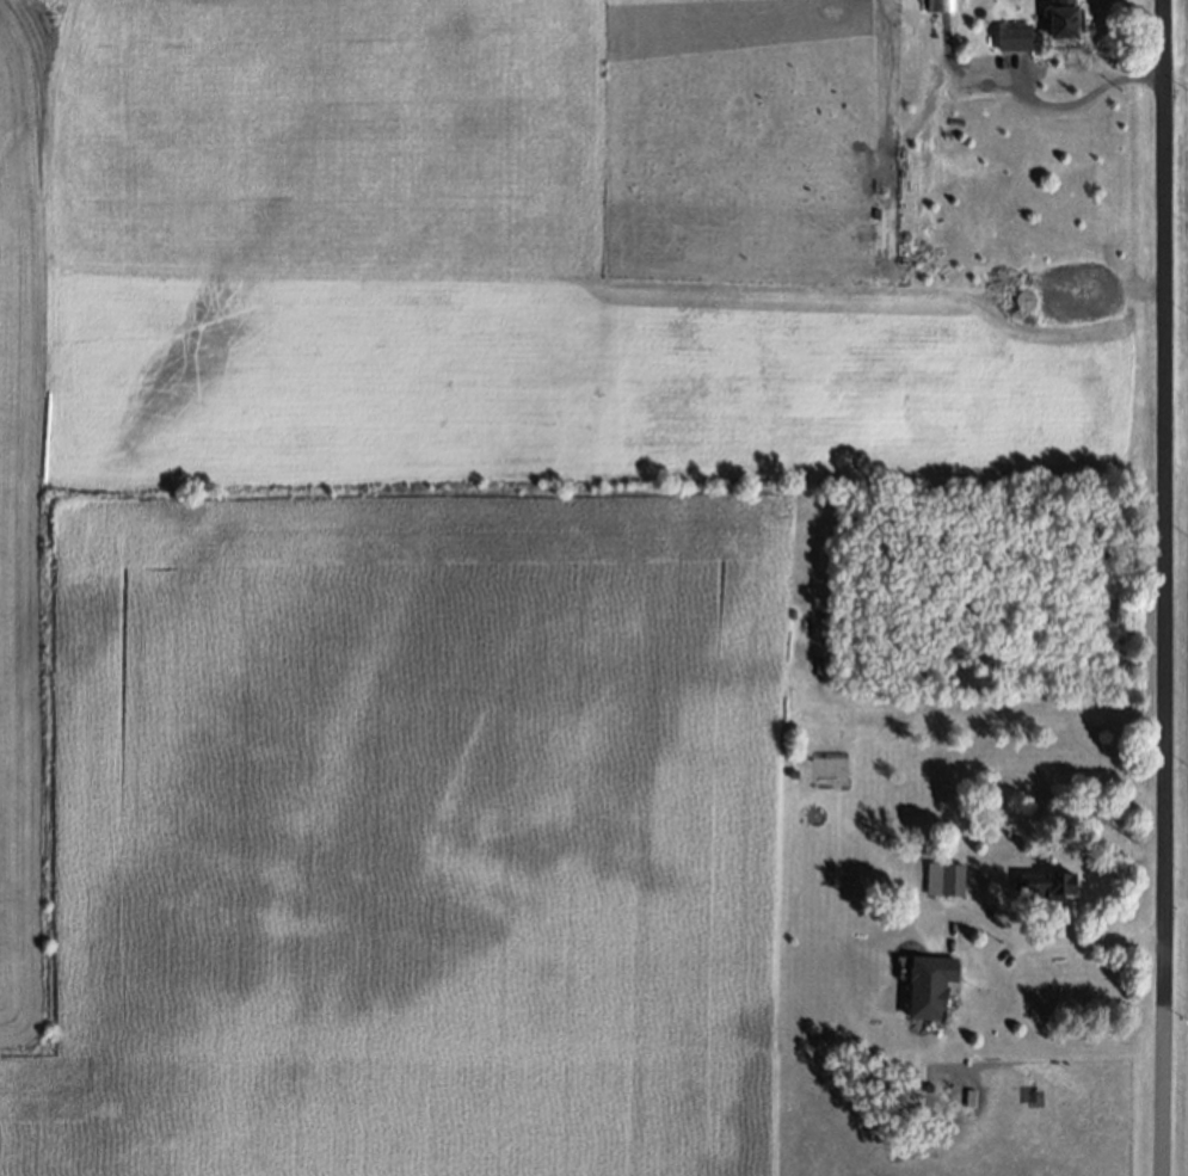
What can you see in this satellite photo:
building: (944, 6)
building: (1066, 19)
building: (1015, 35)
road: (1058, 104)
road: (1165, 587)
building: (953, 878)
building: (1048, 882)
road: (1054, 941)
building: (931, 986)

